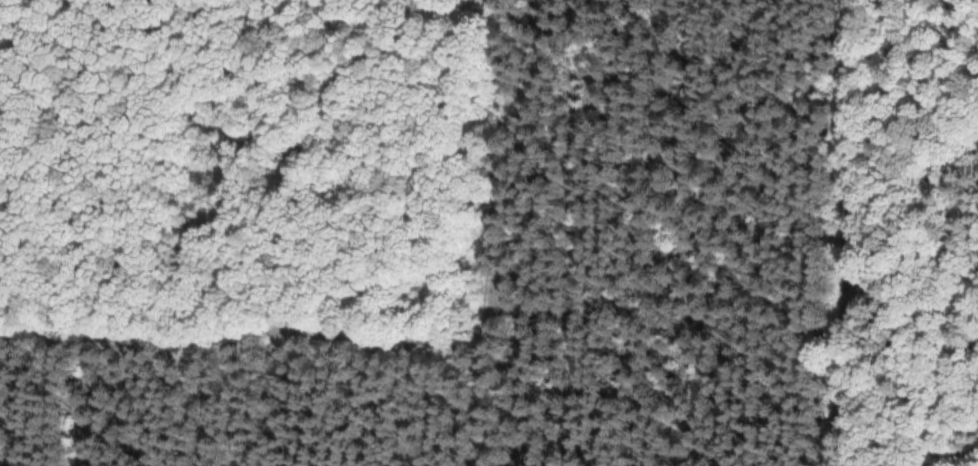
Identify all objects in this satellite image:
road: (827, 232)
road: (399, 339)

